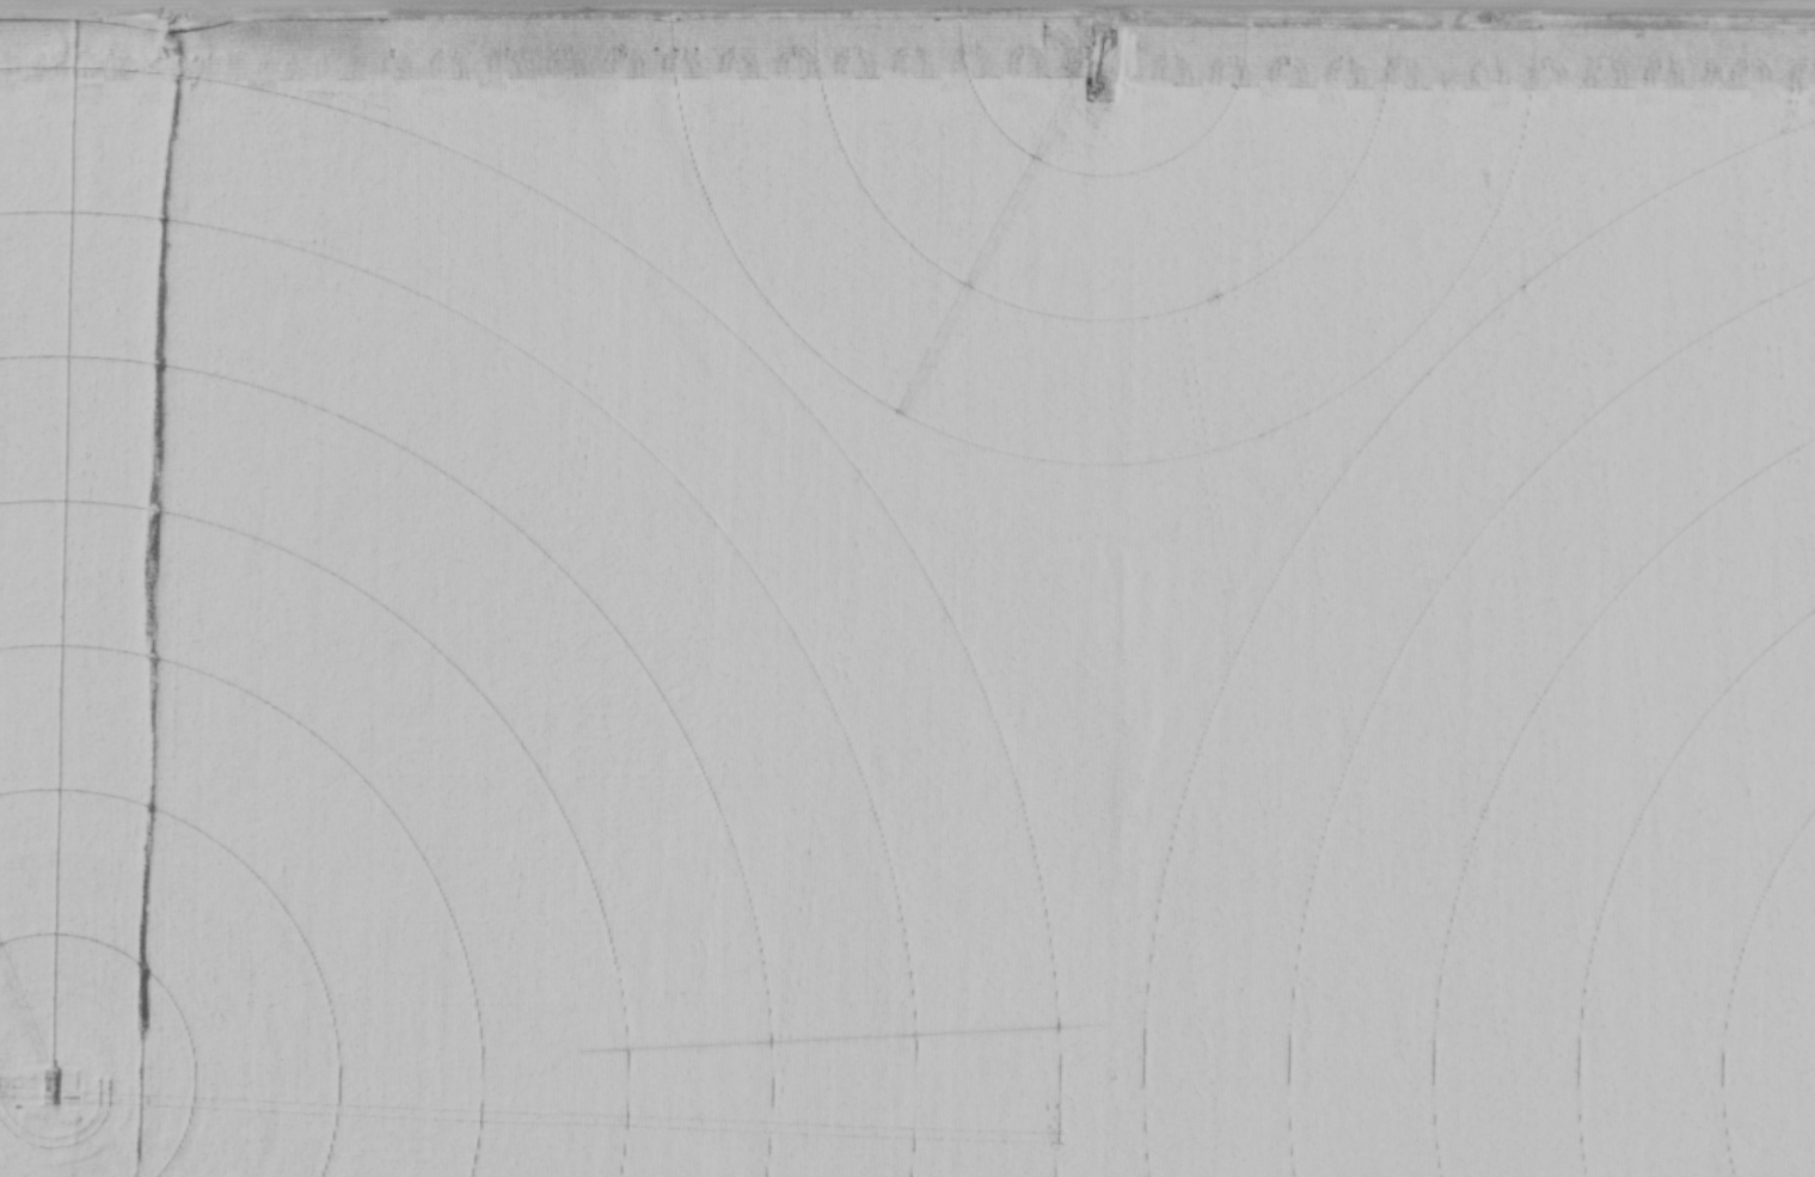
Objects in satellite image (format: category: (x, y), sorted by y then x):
road: (1667, 1)

